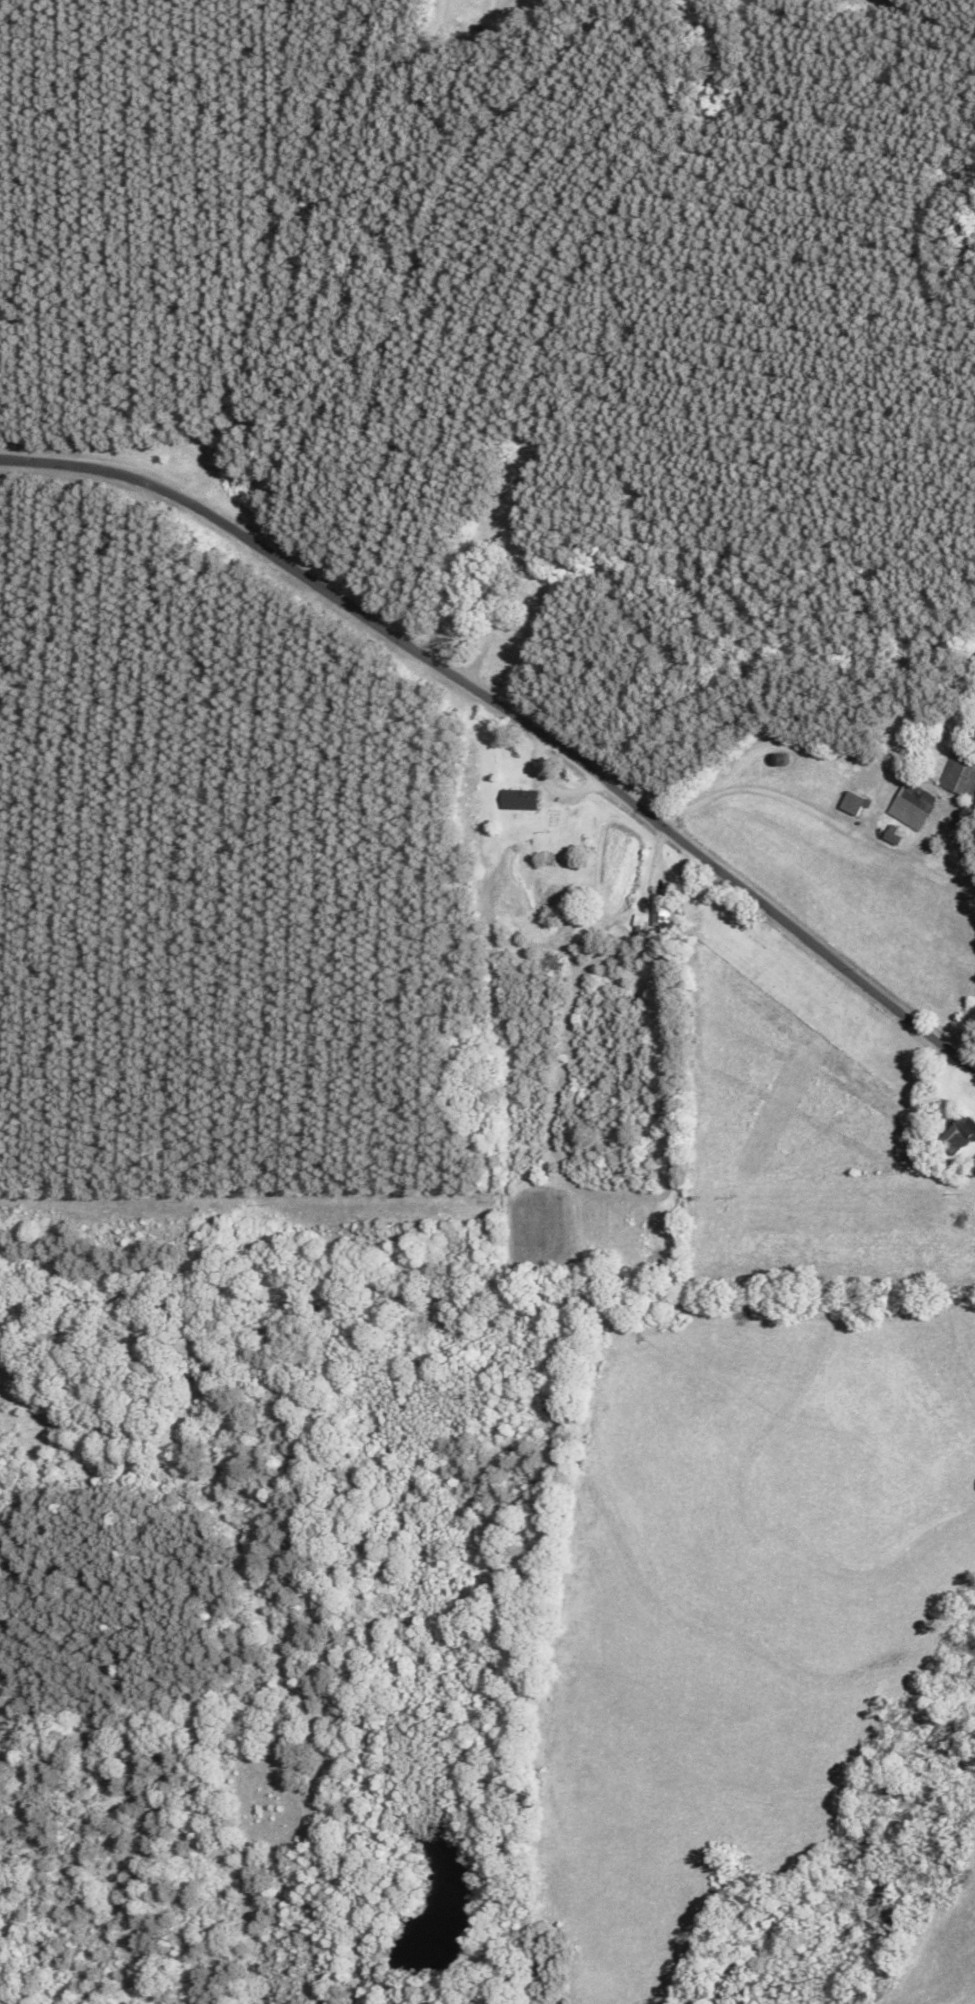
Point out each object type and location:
building: (495, 627)
road: (513, 712)
building: (960, 770)
building: (519, 799)
building: (852, 802)
building: (912, 804)
building: (659, 904)
building: (957, 1134)

